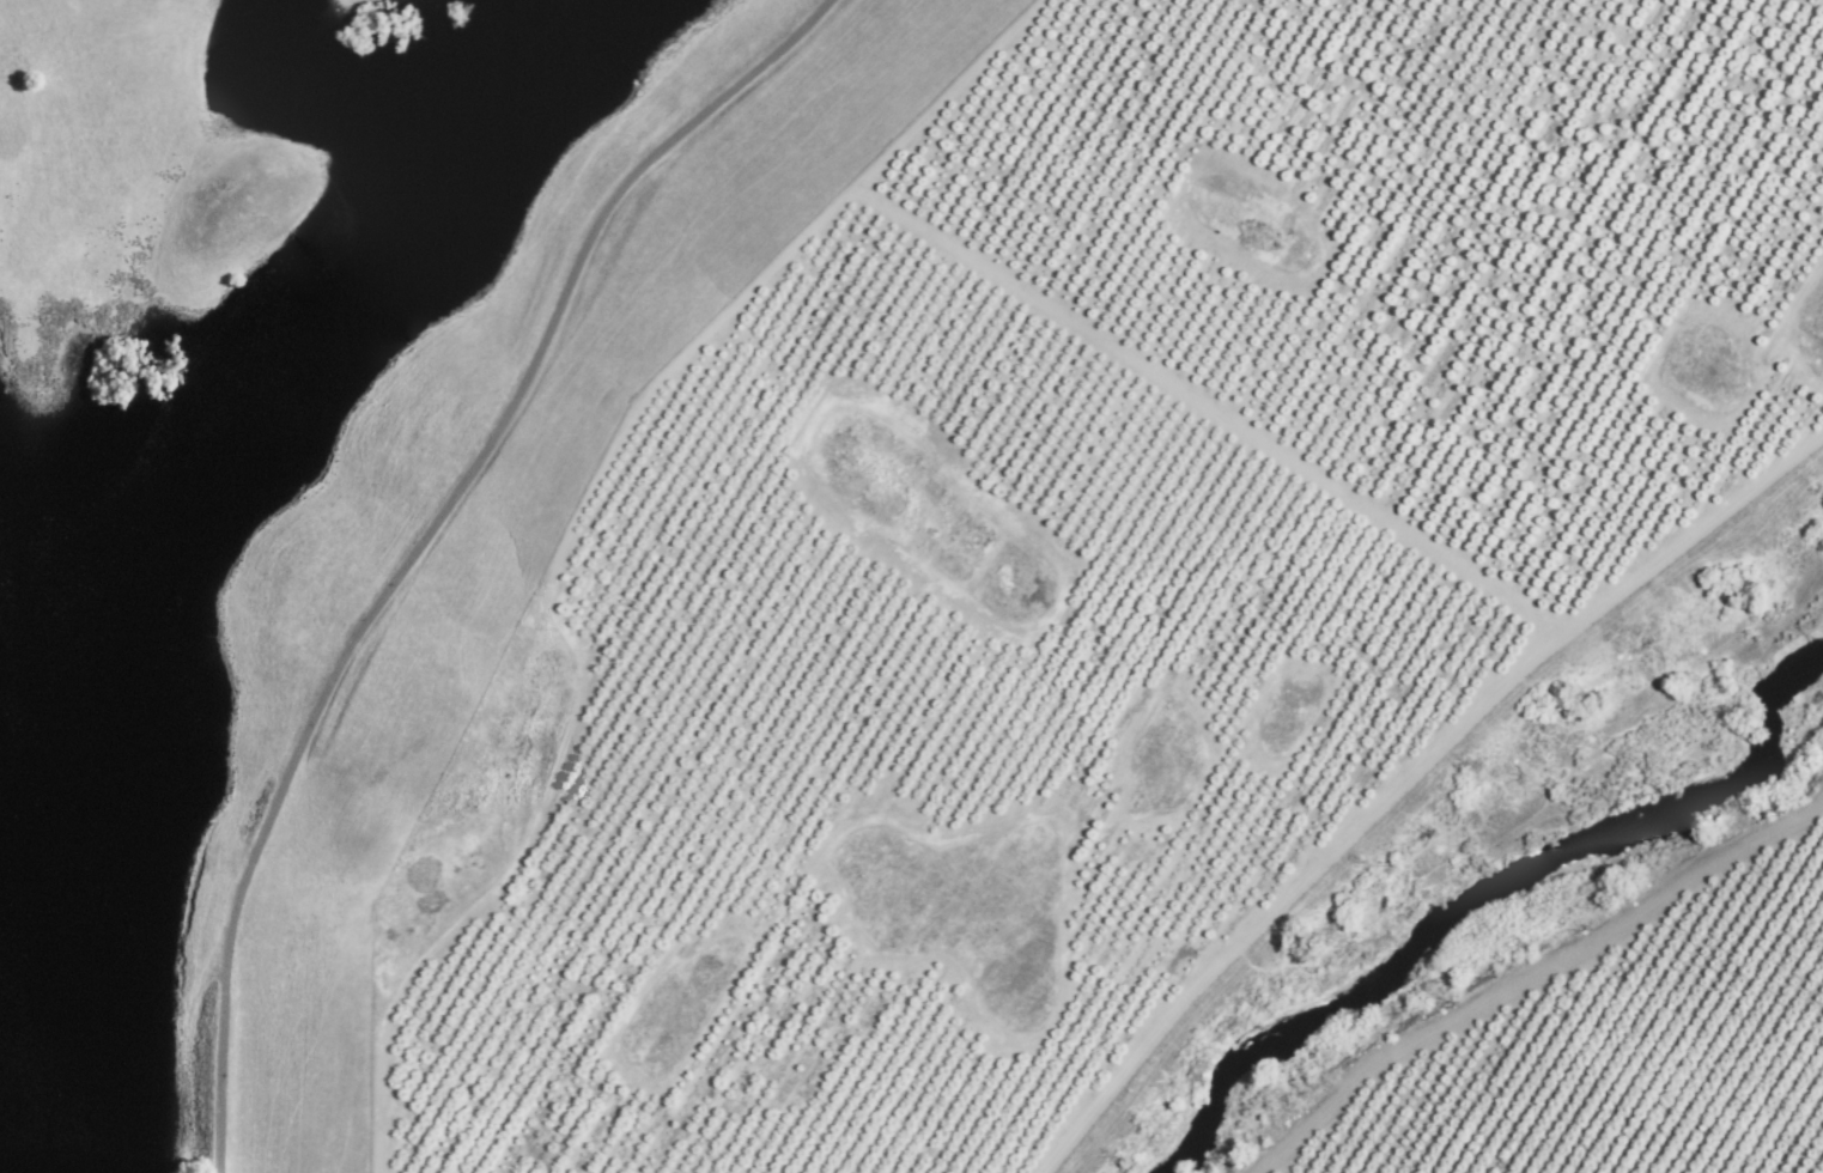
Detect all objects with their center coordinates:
road: (389, 541)
river: (1481, 916)

